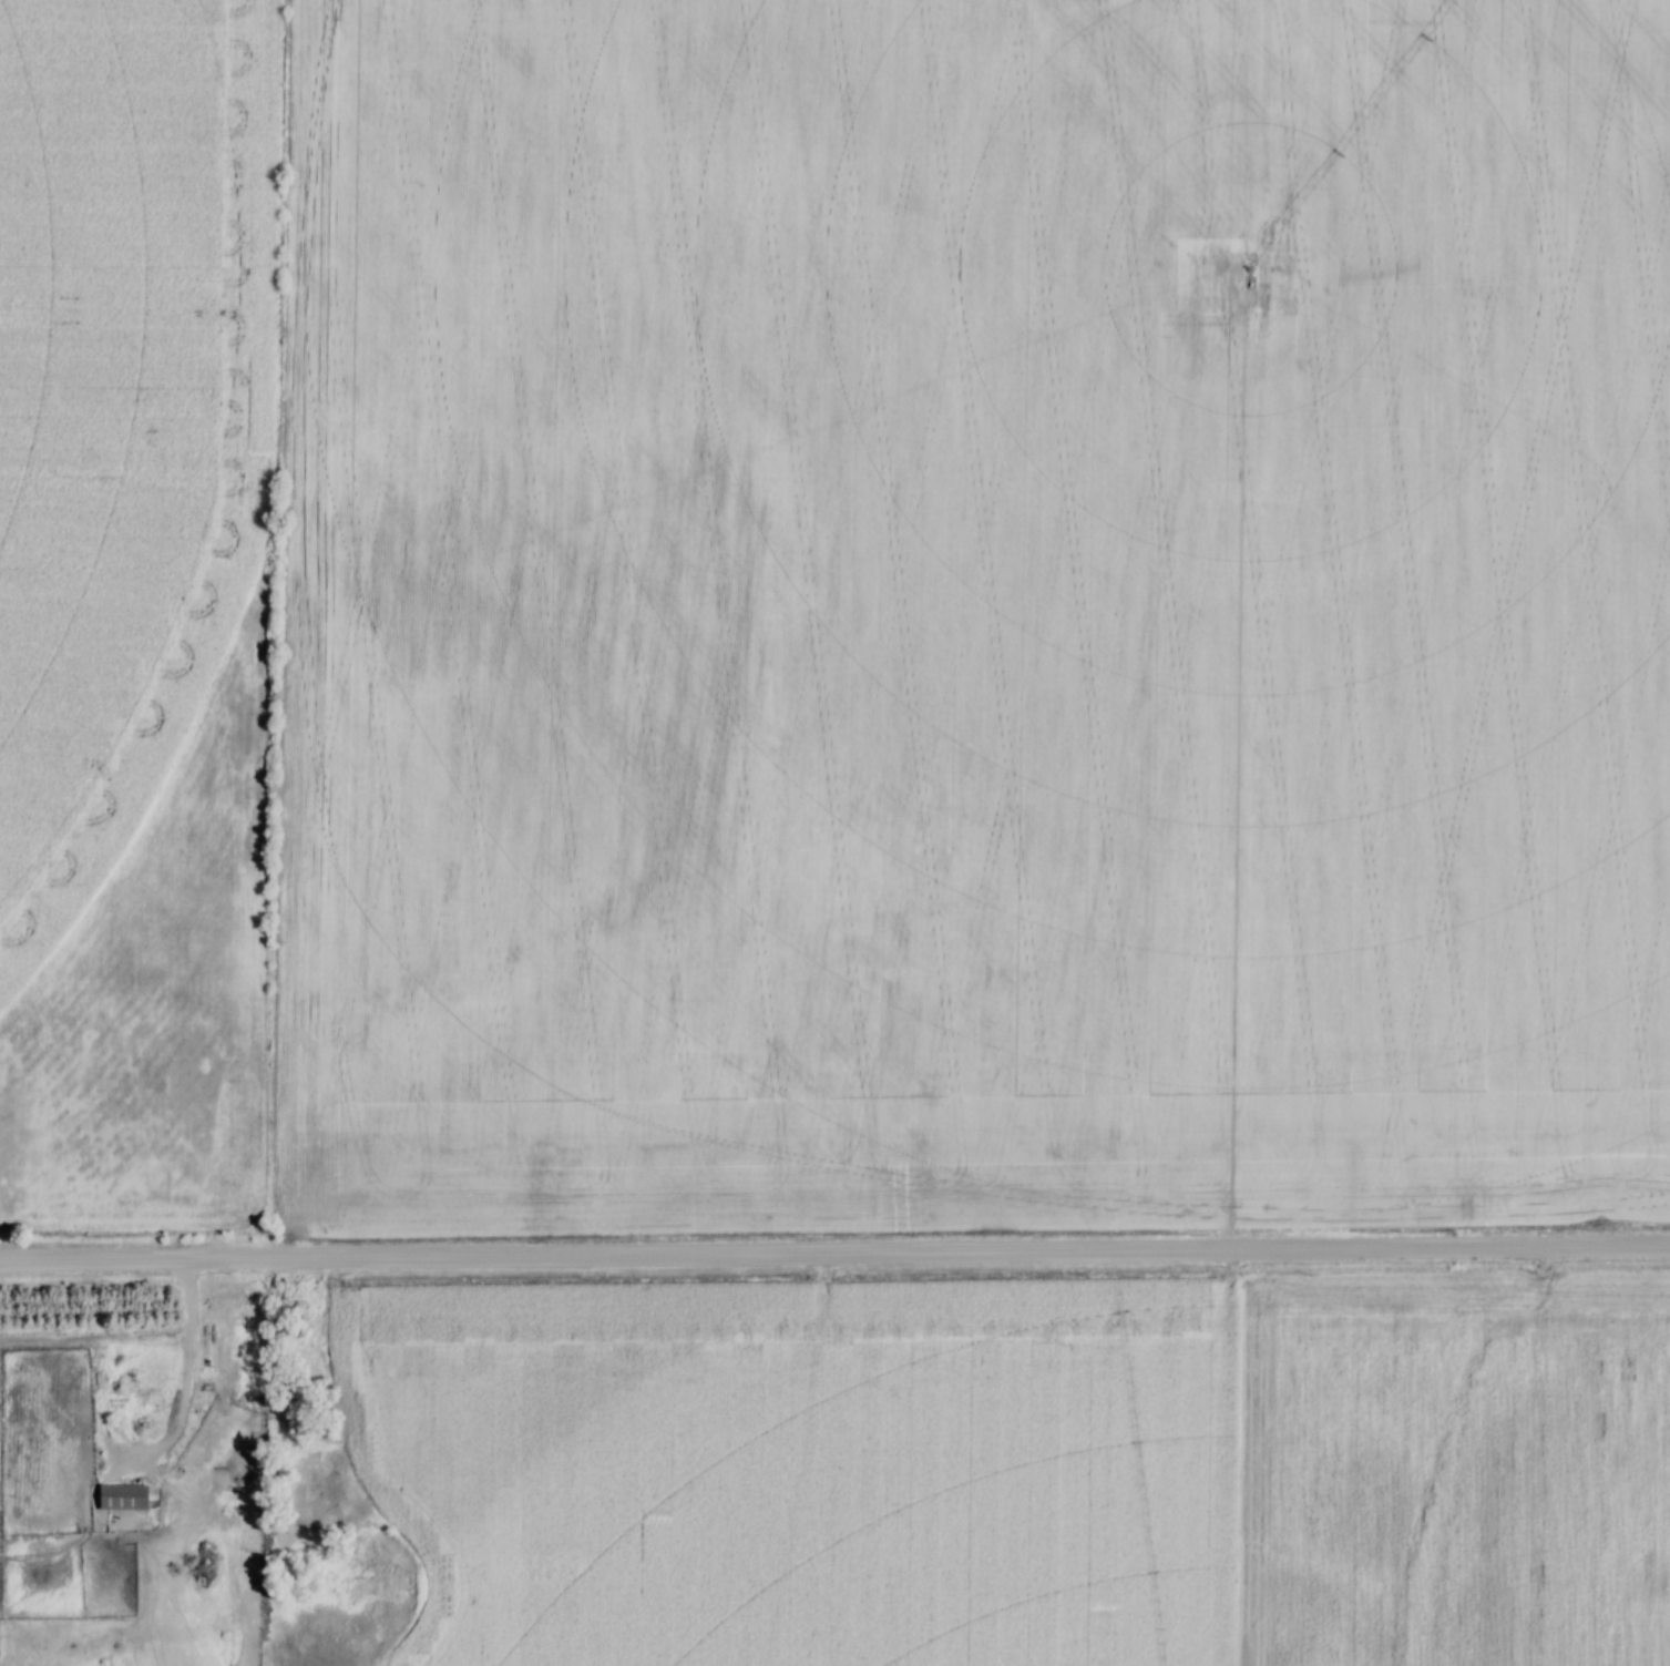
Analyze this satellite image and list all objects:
road: (834, 1248)
road: (182, 1370)
crop: (1457, 1465)
building: (130, 1485)
building: (116, 1499)

